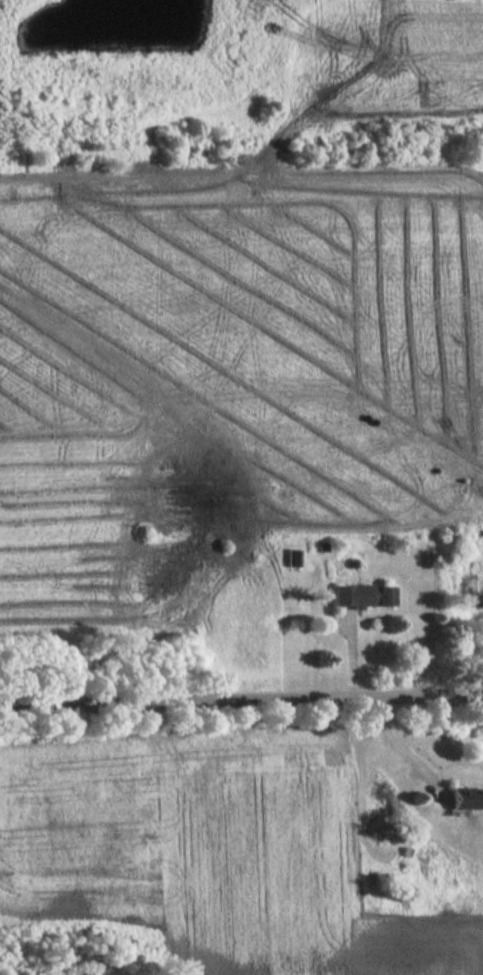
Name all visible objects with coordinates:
building: (292, 557)
building: (467, 588)
building: (361, 596)
road: (241, 703)
road: (404, 751)
building: (463, 799)

